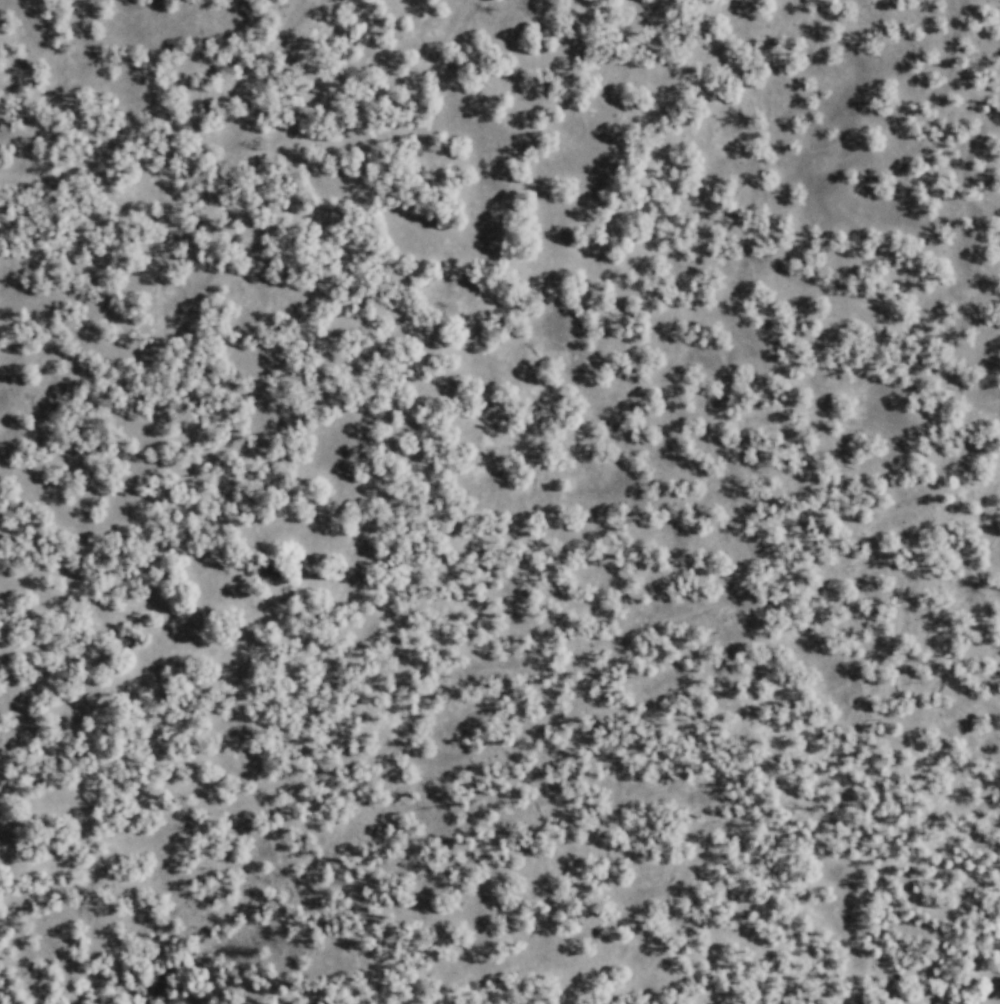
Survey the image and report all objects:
road: (754, 586)
road: (240, 794)

